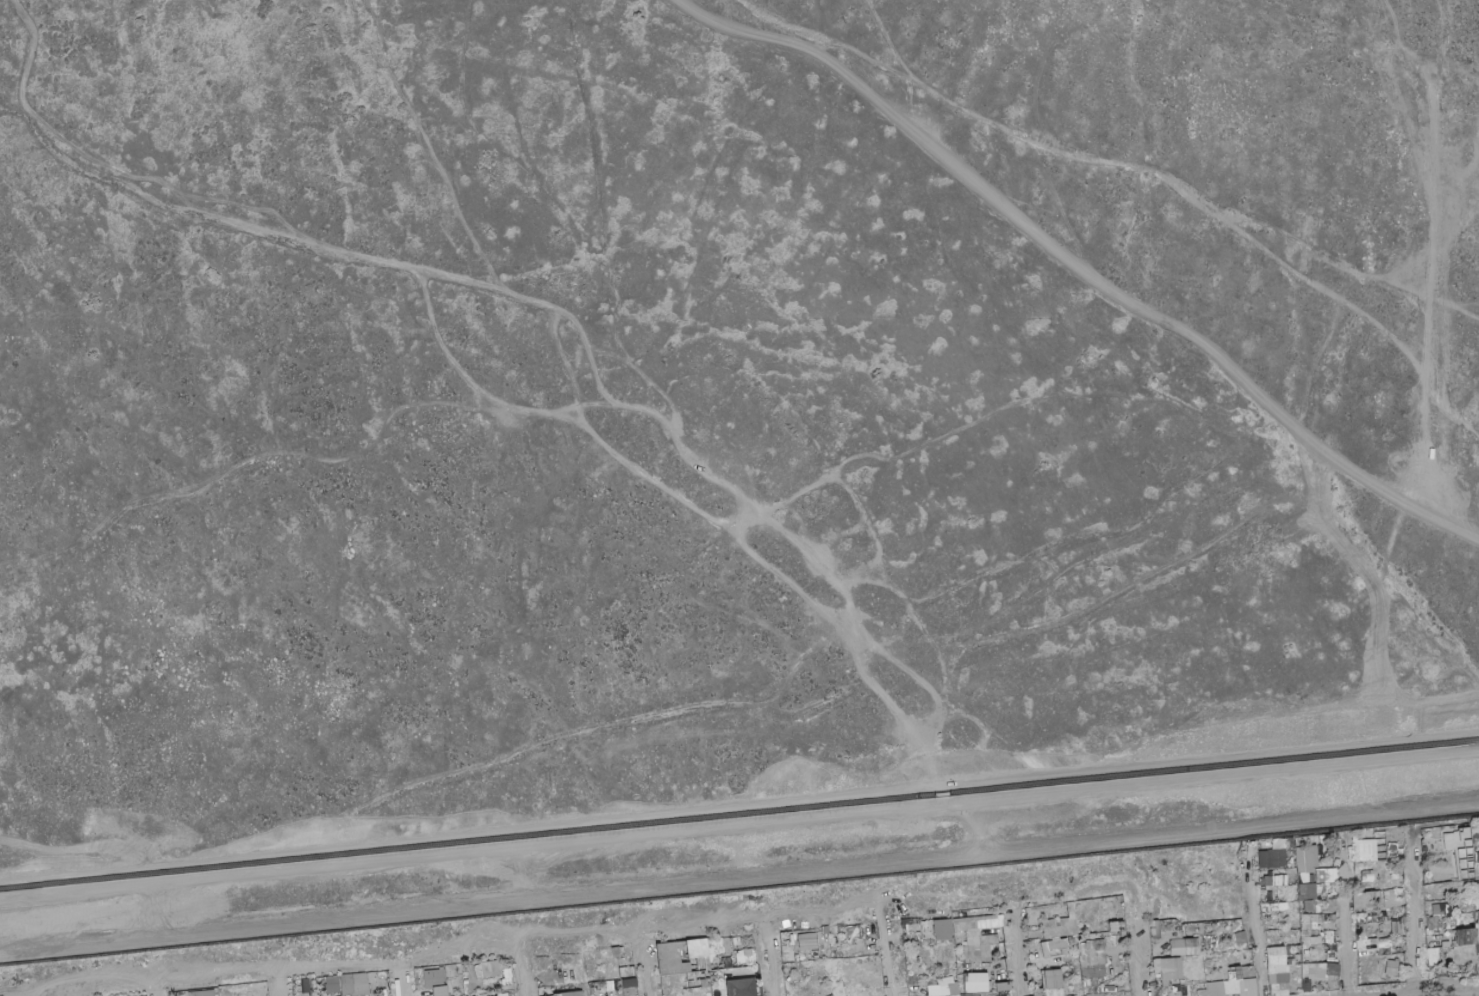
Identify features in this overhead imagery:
road: (1437, 67)
road: (1447, 71)
road: (1411, 114)
road: (1090, 159)
road: (1478, 166)
road: (1078, 261)
road: (1443, 354)
road: (1462, 477)
road: (739, 802)
road: (975, 815)
road: (739, 823)
building: (1475, 837)
building: (1320, 839)
building: (1305, 841)
building: (1434, 845)
building: (1323, 846)
building: (1453, 846)
building: (1423, 847)
building: (1365, 849)
building: (1393, 850)
building: (1330, 853)
building: (1464, 855)
building: (1424, 857)
building: (1477, 857)
building: (1272, 858)
building: (1316, 860)
building: (1306, 862)
building: (1378, 863)
building: (1380, 868)
building: (1267, 872)
building: (1324, 875)
building: (1373, 875)
building: (1427, 879)
building: (1279, 880)
building: (1454, 880)
road: (739, 881)
building: (1269, 881)
building: (1286, 883)
building: (1262, 884)
building: (1370, 884)
building: (1447, 885)
building: (1477, 885)
building: (1385, 886)
building: (1321, 887)
building: (1330, 887)
building: (1436, 889)
building: (1281, 891)
building: (1308, 891)
building: (1289, 892)
building: (1270, 894)
building: (1390, 894)
building: (1320, 896)
building: (1430, 896)
building: (1462, 896)
building: (1335, 897)
building: (1372, 898)
building: (1365, 900)
building: (1120, 901)
building: (1302, 901)
building: (1330, 904)
building: (1309, 906)
building: (1317, 906)
building: (1293, 907)
building: (1447, 907)
building: (1469, 907)
building: (1105, 908)
building: (1400, 908)
building: (1284, 909)
building: (1369, 909)
building: (1438, 909)
building: (1265, 911)
building: (1277, 911)
building: (1120, 912)
building: (1395, 913)
road: (1418, 913)
building: (1311, 915)
building: (1476, 916)
building: (1331, 917)
building: (1316, 918)
building: (1362, 918)
building: (1377, 919)
building: (1039, 920)
building: (1471, 920)
building: (1452, 921)
building: (1296, 922)
building: (1432, 922)
building: (1478, 922)
building: (977, 923)
road: (1347, 924)
building: (1060, 925)
building: (1115, 925)
building: (1305, 925)
building: (1381, 926)
building: (1291, 928)
building: (1314, 928)
building: (1397, 928)
building: (904, 929)
building: (922, 929)
building: (942, 929)
building: (951, 929)
building: (1155, 929)
building: (1272, 929)
building: (854, 932)
building: (1477, 932)
building: (1122, 934)
road: (1257, 934)
building: (1322, 934)
building: (913, 936)
building: (1465, 936)
building: (936, 937)
building: (1328, 937)
building: (1333, 937)
building: (1074, 938)
building: (1080, 938)
building: (717, 940)
building: (737, 940)
building: (981, 940)
building: (1118, 940)
building: (1316, 940)
building: (1108, 941)
building: (1306, 941)
building: (808, 942)
building: (1031, 943)
building: (716, 944)
building: (1055, 944)
building: (1363, 945)
building: (1373, 945)
building: (1385, 945)
building: (1191, 946)
building: (1178, 948)
road: (442, 949)
building: (718, 949)
building: (839, 949)
building: (710, 950)
building: (1454, 950)
building: (698, 951)
road: (891, 951)
building: (1050, 951)
building: (1288, 951)
building: (1477, 951)
building: (615, 952)
building: (993, 952)
building: (1307, 952)
building: (975, 953)
building: (1092, 953)
building: (1372, 953)
road: (1141, 954)
building: (1298, 954)
building: (1331, 954)
building: (1359, 954)
road: (771, 955)
building: (1464, 955)
building: (958, 956)
road: (1020, 956)
building: (1276, 956)
building: (746, 957)
building: (789, 957)
building: (672, 958)
building: (540, 961)
road: (644, 961)
building: (1288, 962)
building: (700, 964)
building: (1251, 964)
building: (728, 965)
building: (1156, 966)
building: (433, 967)
building: (1392, 967)
building: (442, 968)
building: (490, 968)
road: (522, 968)
building: (1170, 969)
building: (1234, 969)
building: (1332, 969)
building: (1098, 970)
building: (1271, 970)
building: (1313, 970)
building: (479, 971)
building: (1248, 971)
building: (628, 972)
building: (1085, 972)
building: (507, 973)
building: (382, 975)
road: (402, 975)
building: (1234, 975)
building: (1243, 975)
building: (1157, 976)
building: (435, 978)
building: (703, 978)
building: (1278, 978)
building: (918, 979)
building: (1160, 979)
building: (625, 980)
building: (466, 981)
building: (944, 981)
building: (505, 982)
building: (975, 982)
building: (1050, 982)
building: (1333, 982)
building: (1384, 982)
road: (282, 983)
building: (355, 983)
building: (1166, 983)
building: (1175, 983)
building: (332, 984)
building: (758, 984)
building: (610, 985)
building: (692, 985)
building: (1307, 985)
building: (1313, 986)
building: (465, 987)
building: (630, 987)
building: (741, 987)
building: (1000, 987)
building: (1093, 987)
building: (1230, 987)
building: (1246, 987)
road: (153, 988)
building: (620, 988)
building: (665, 988)
building: (967, 988)
building: (593, 989)
building: (1174, 989)
building: (1214, 989)
building: (1271, 989)
building: (1279, 989)
road: (1423, 989)
building: (215, 990)
building: (942, 990)
building: (1186, 990)
building: (440, 991)
building: (757, 991)
building: (1202, 991)
road: (36, 992)
building: (1037, 992)
building: (202, 993)
building: (313, 993)
building: (572, 993)
building: (357, 994)
building: (502, 994)
building: (510, 994)
building: (978, 994)
building: (1063, 994)
building: (1174, 994)
building: (557, 995)
building: (955, 995)
building: (989, 995)
building: (1004, 995)
building: (1079, 995)
building: (1231, 995)

